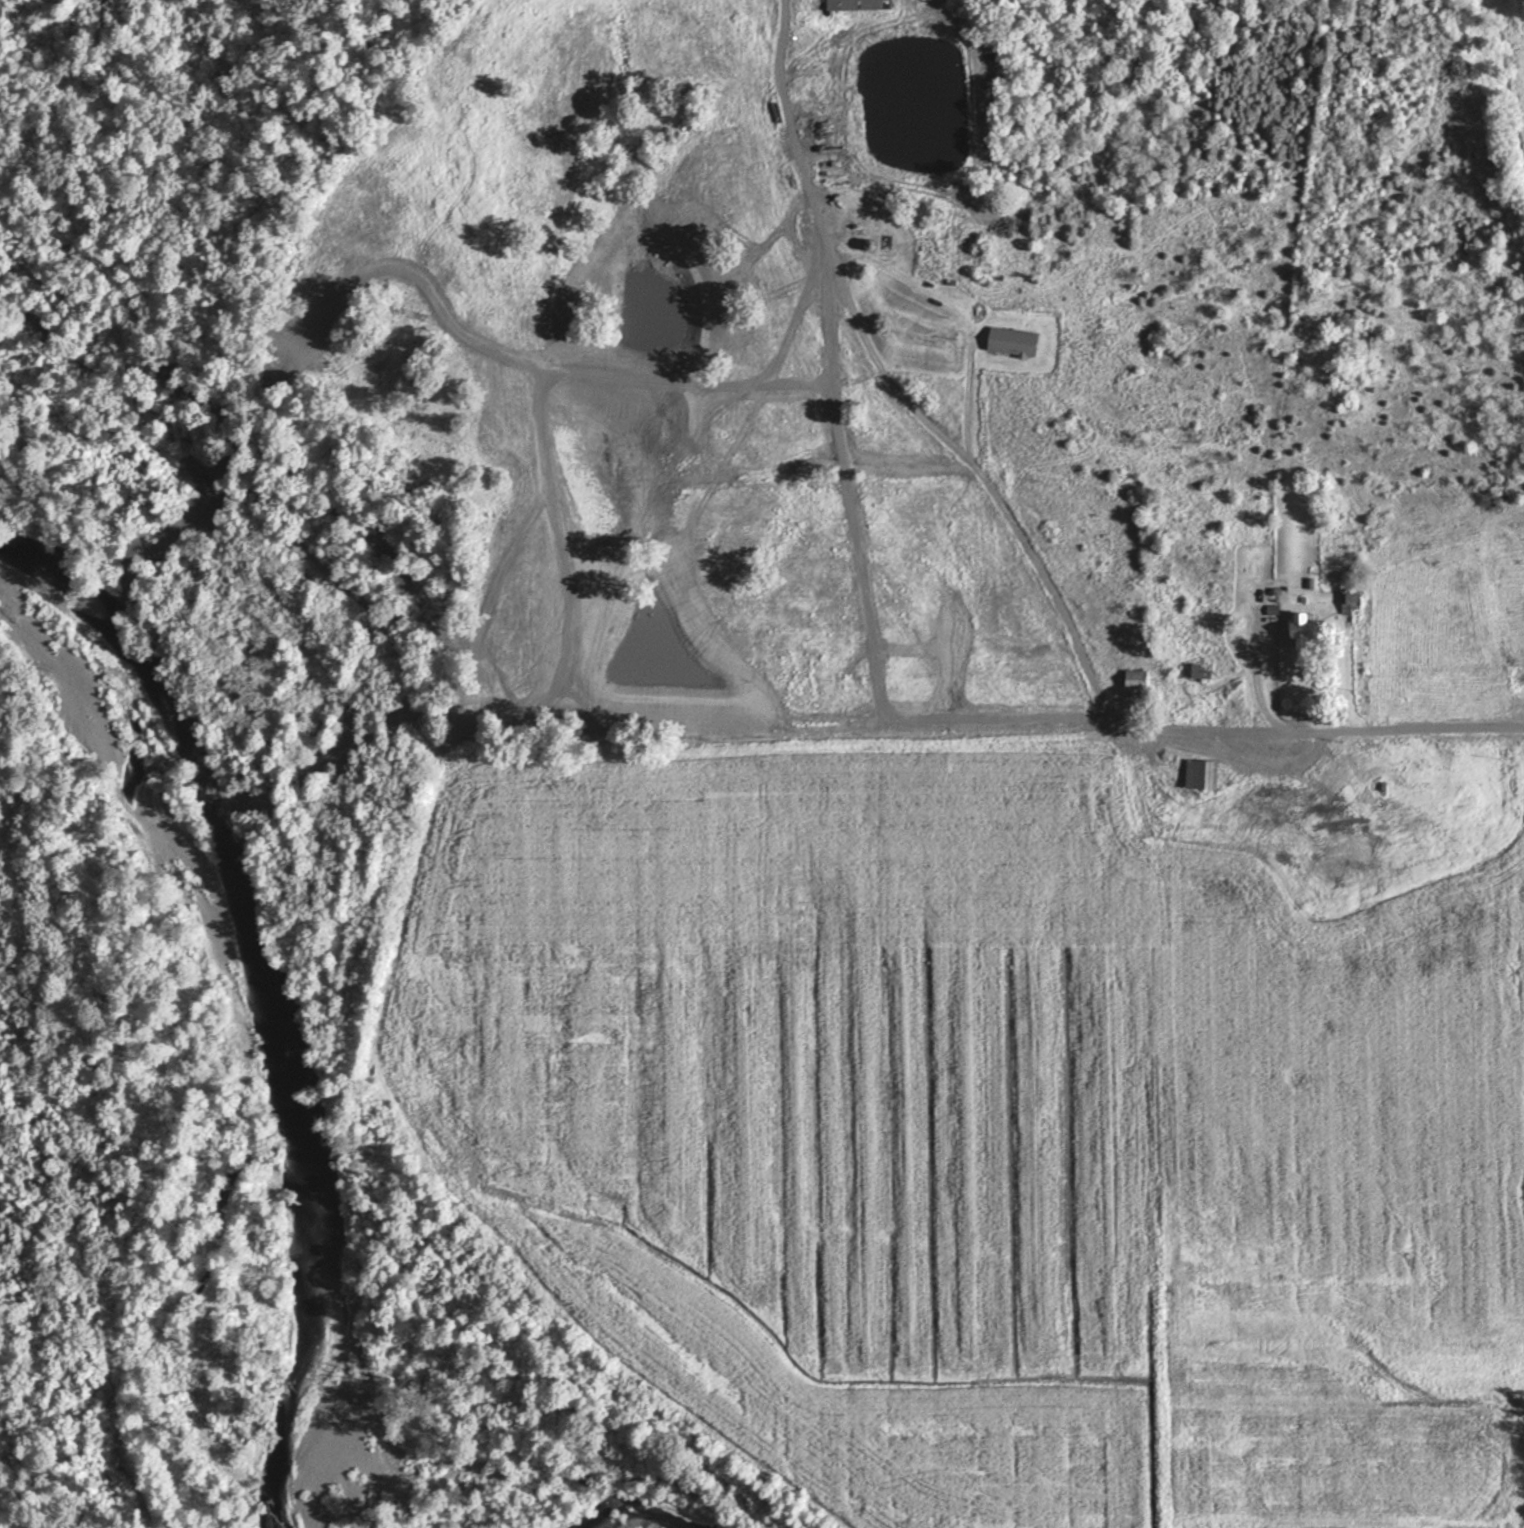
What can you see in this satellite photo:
building: (859, 4)
building: (819, 125)
building: (831, 168)
building: (1014, 342)
road: (1025, 544)
building: (1351, 602)
building: (1306, 630)
building: (1136, 683)
building: (1202, 774)
building: (1333, 812)
river: (264, 1007)
river: (632, 1515)

